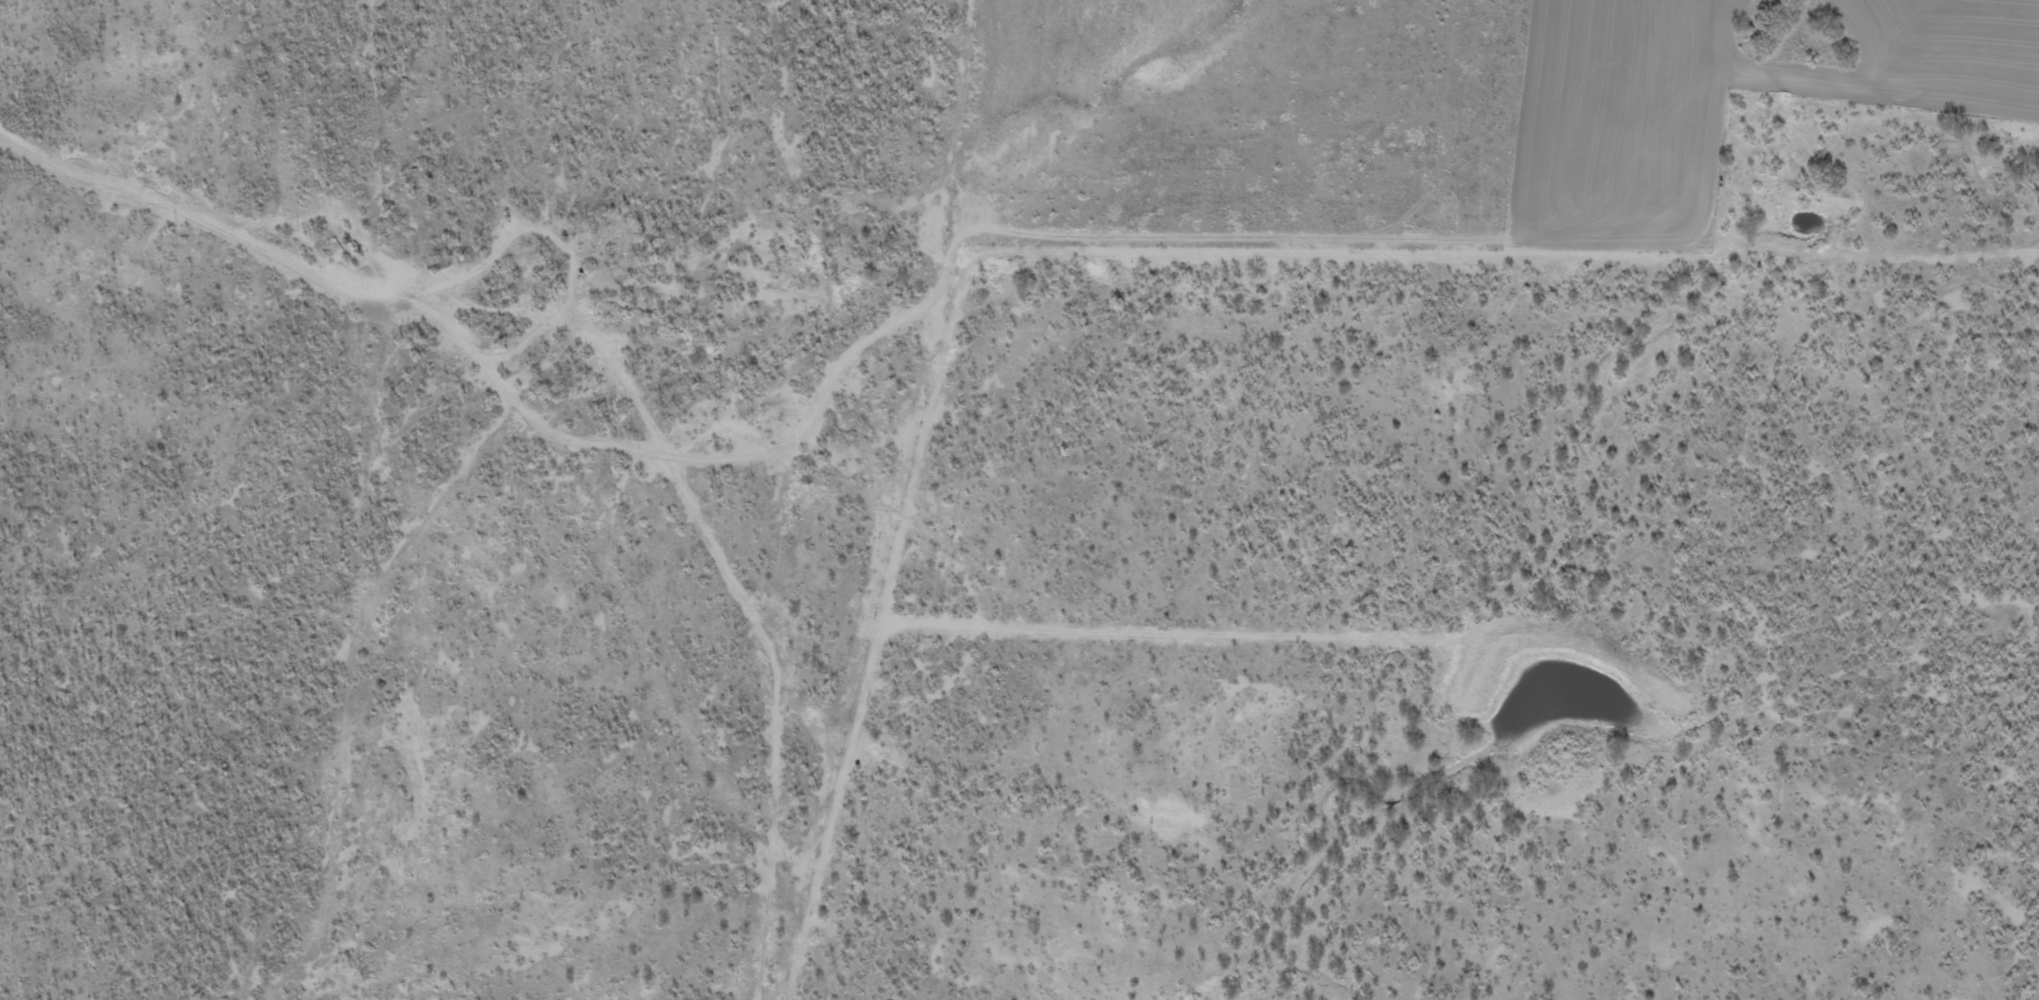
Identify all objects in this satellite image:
road: (234, 237)
road: (724, 457)
road: (507, 482)
road: (358, 756)

